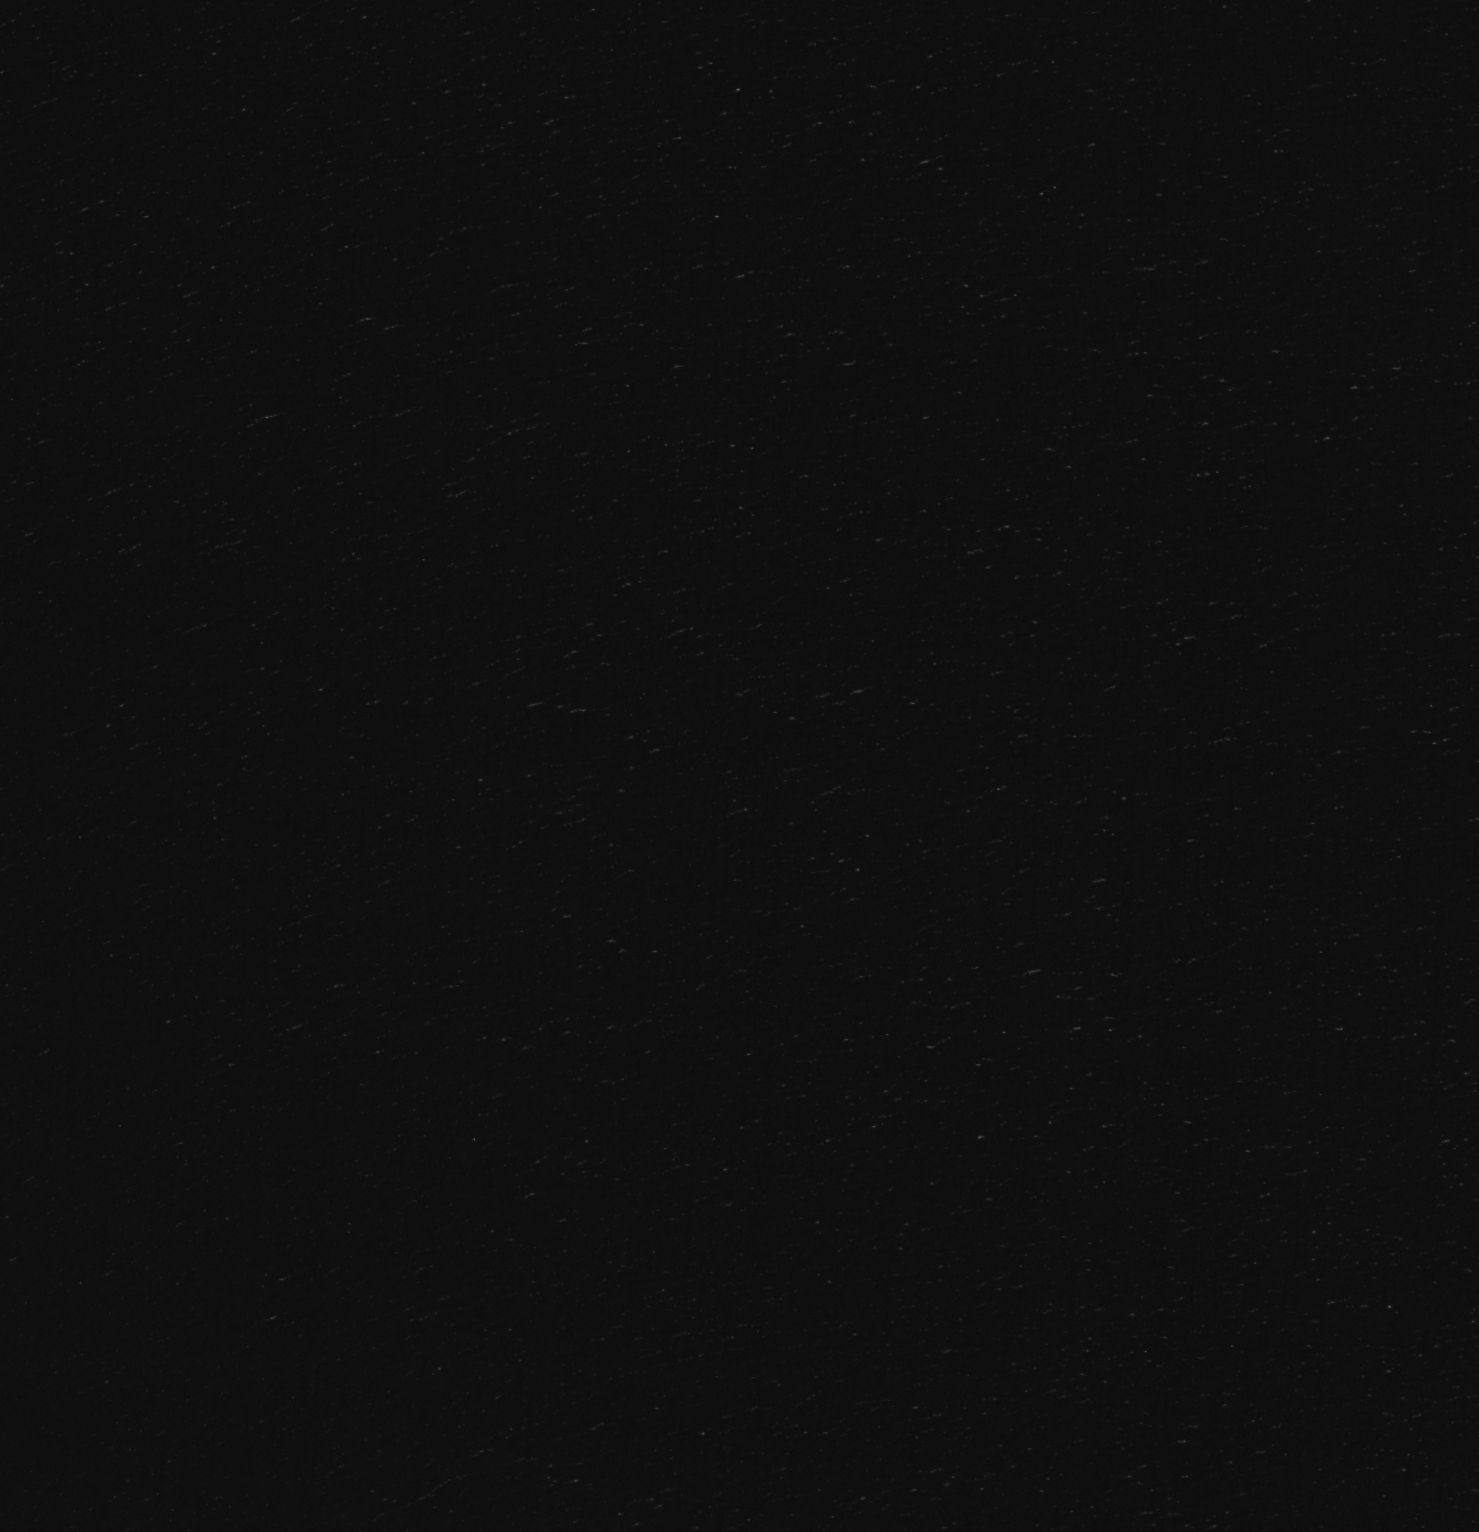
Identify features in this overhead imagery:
river: (560, 1377)

